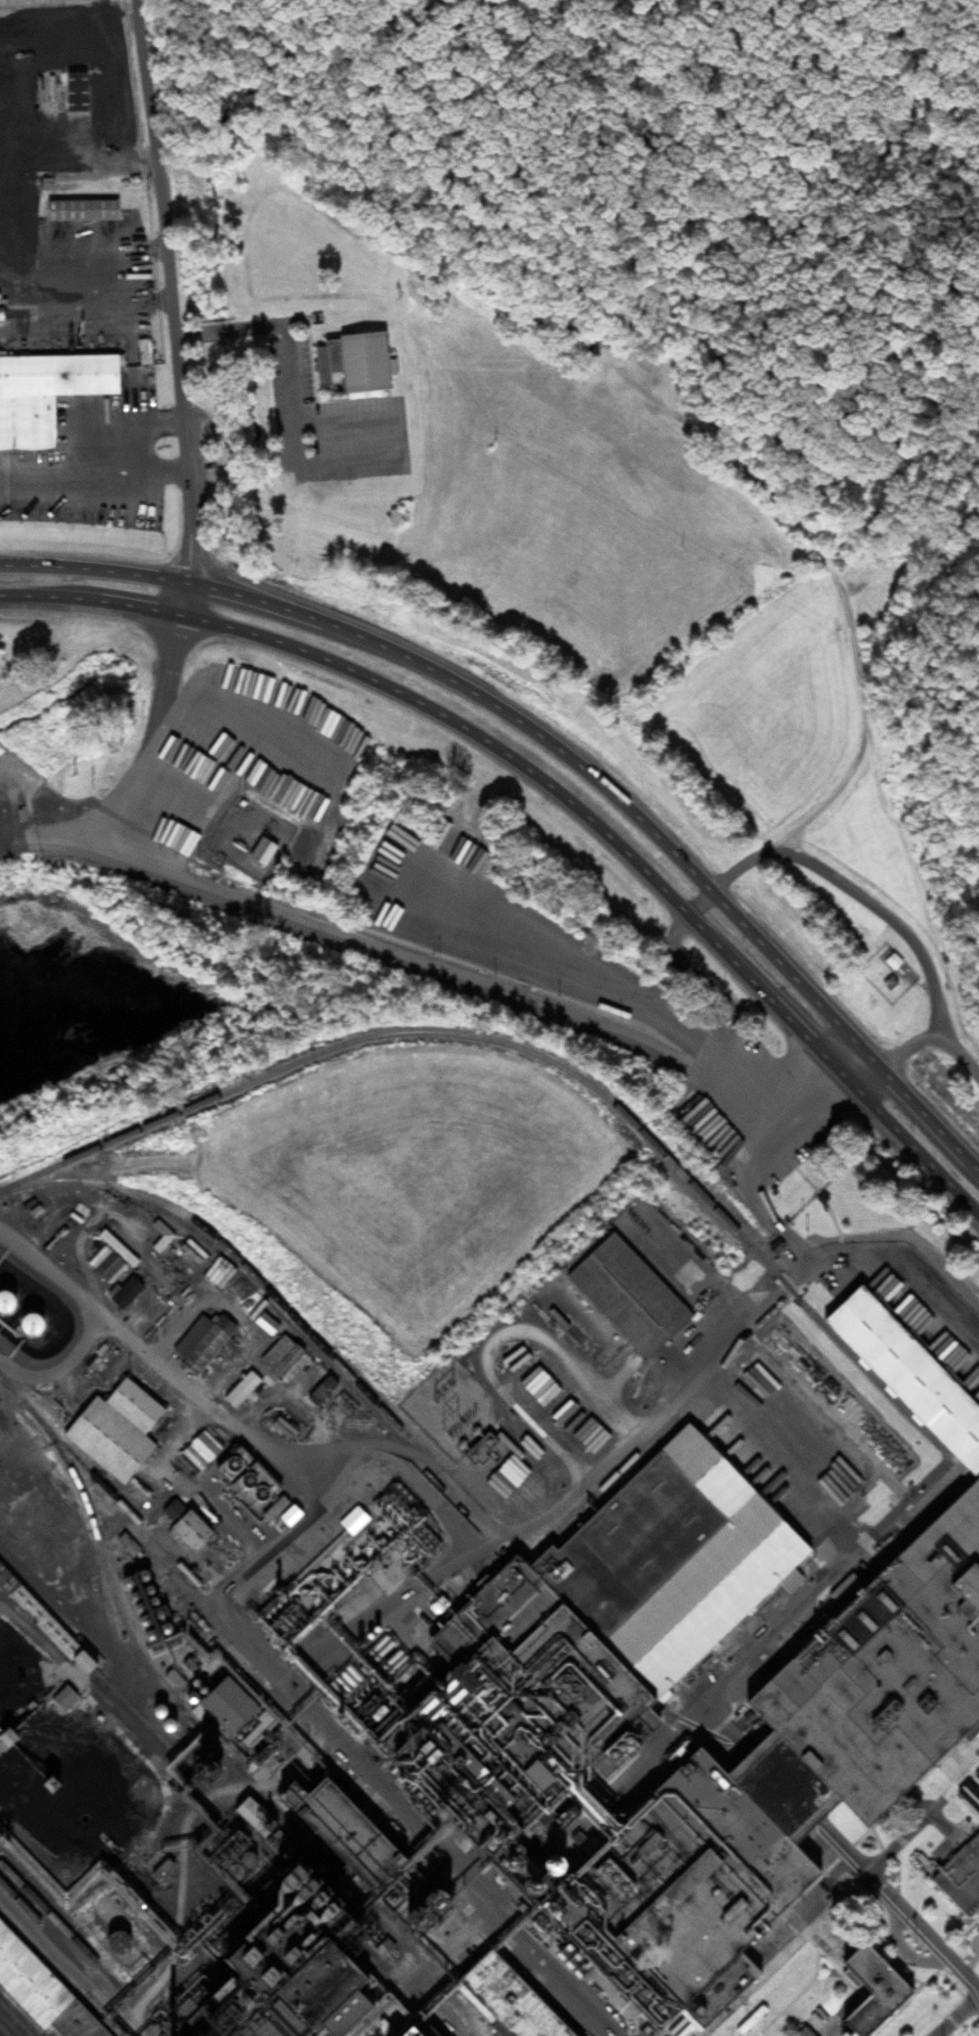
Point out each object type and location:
building: (72, 91)
building: (80, 210)
road: (172, 307)
road: (233, 331)
building: (352, 363)
building: (46, 394)
road: (860, 667)
road: (557, 747)
road: (555, 790)
road: (848, 887)
building: (888, 984)
railway: (416, 1036)
road: (837, 1100)
building: (32, 1235)
railway: (231, 1256)
building: (625, 1296)
building: (36, 1338)
building: (200, 1342)
building: (277, 1357)
building: (239, 1390)
building: (113, 1429)
building: (191, 1459)
road: (449, 1485)
railway: (120, 1503)
building: (278, 1514)
building: (352, 1521)
building: (187, 1530)
railway: (103, 1564)
building: (639, 1578)
building: (5, 1581)
building: (224, 1707)
railway: (128, 1708)
building: (802, 1726)
road: (338, 1746)
road: (635, 1763)
building: (315, 1803)
building: (260, 1873)
building: (959, 1877)
building: (282, 1959)
railway: (72, 1961)
road: (66, 1969)
building: (746, 1974)
building: (864, 1991)
building: (39, 1992)
railway: (12, 2021)
building: (800, 2032)

